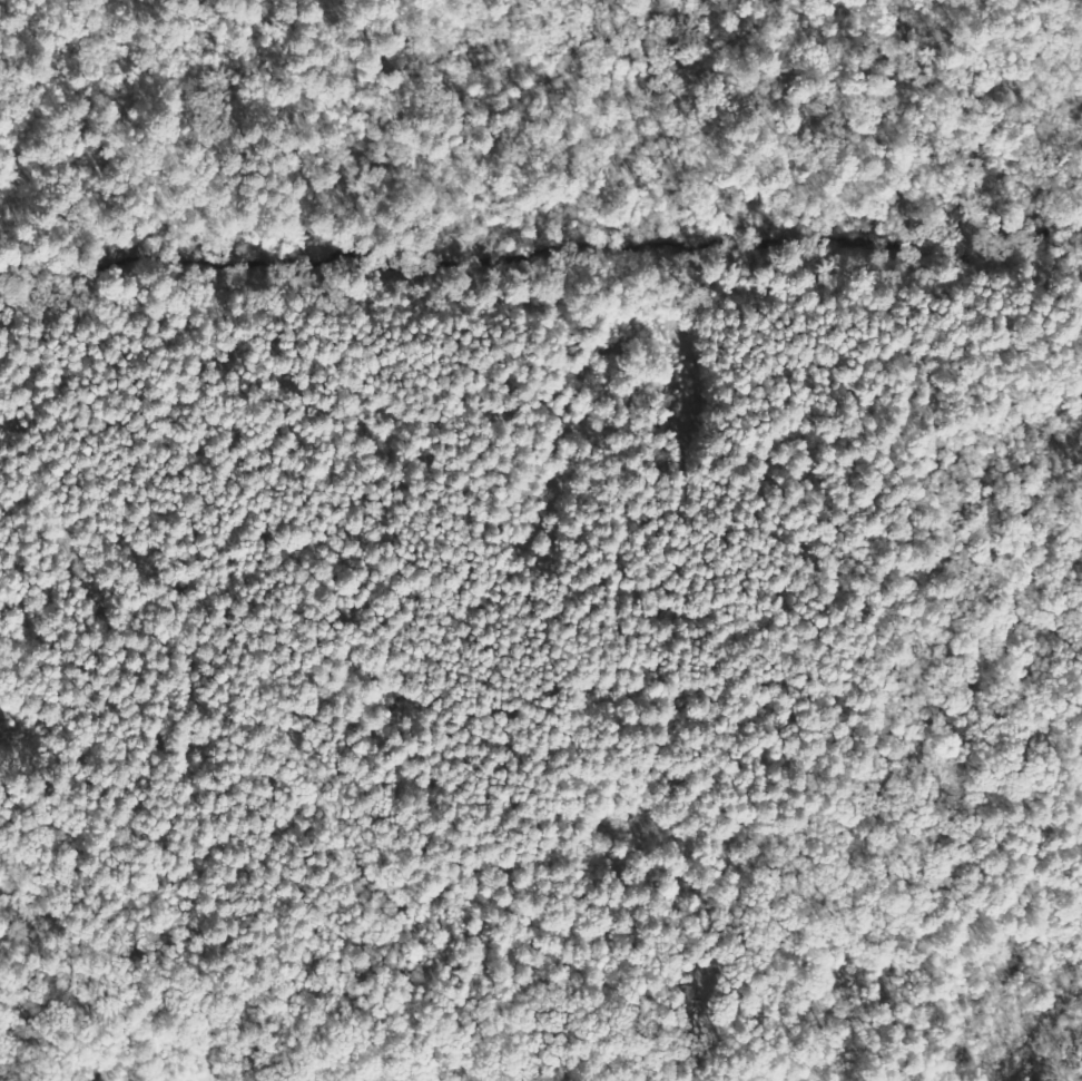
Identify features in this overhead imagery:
road: (971, 957)

